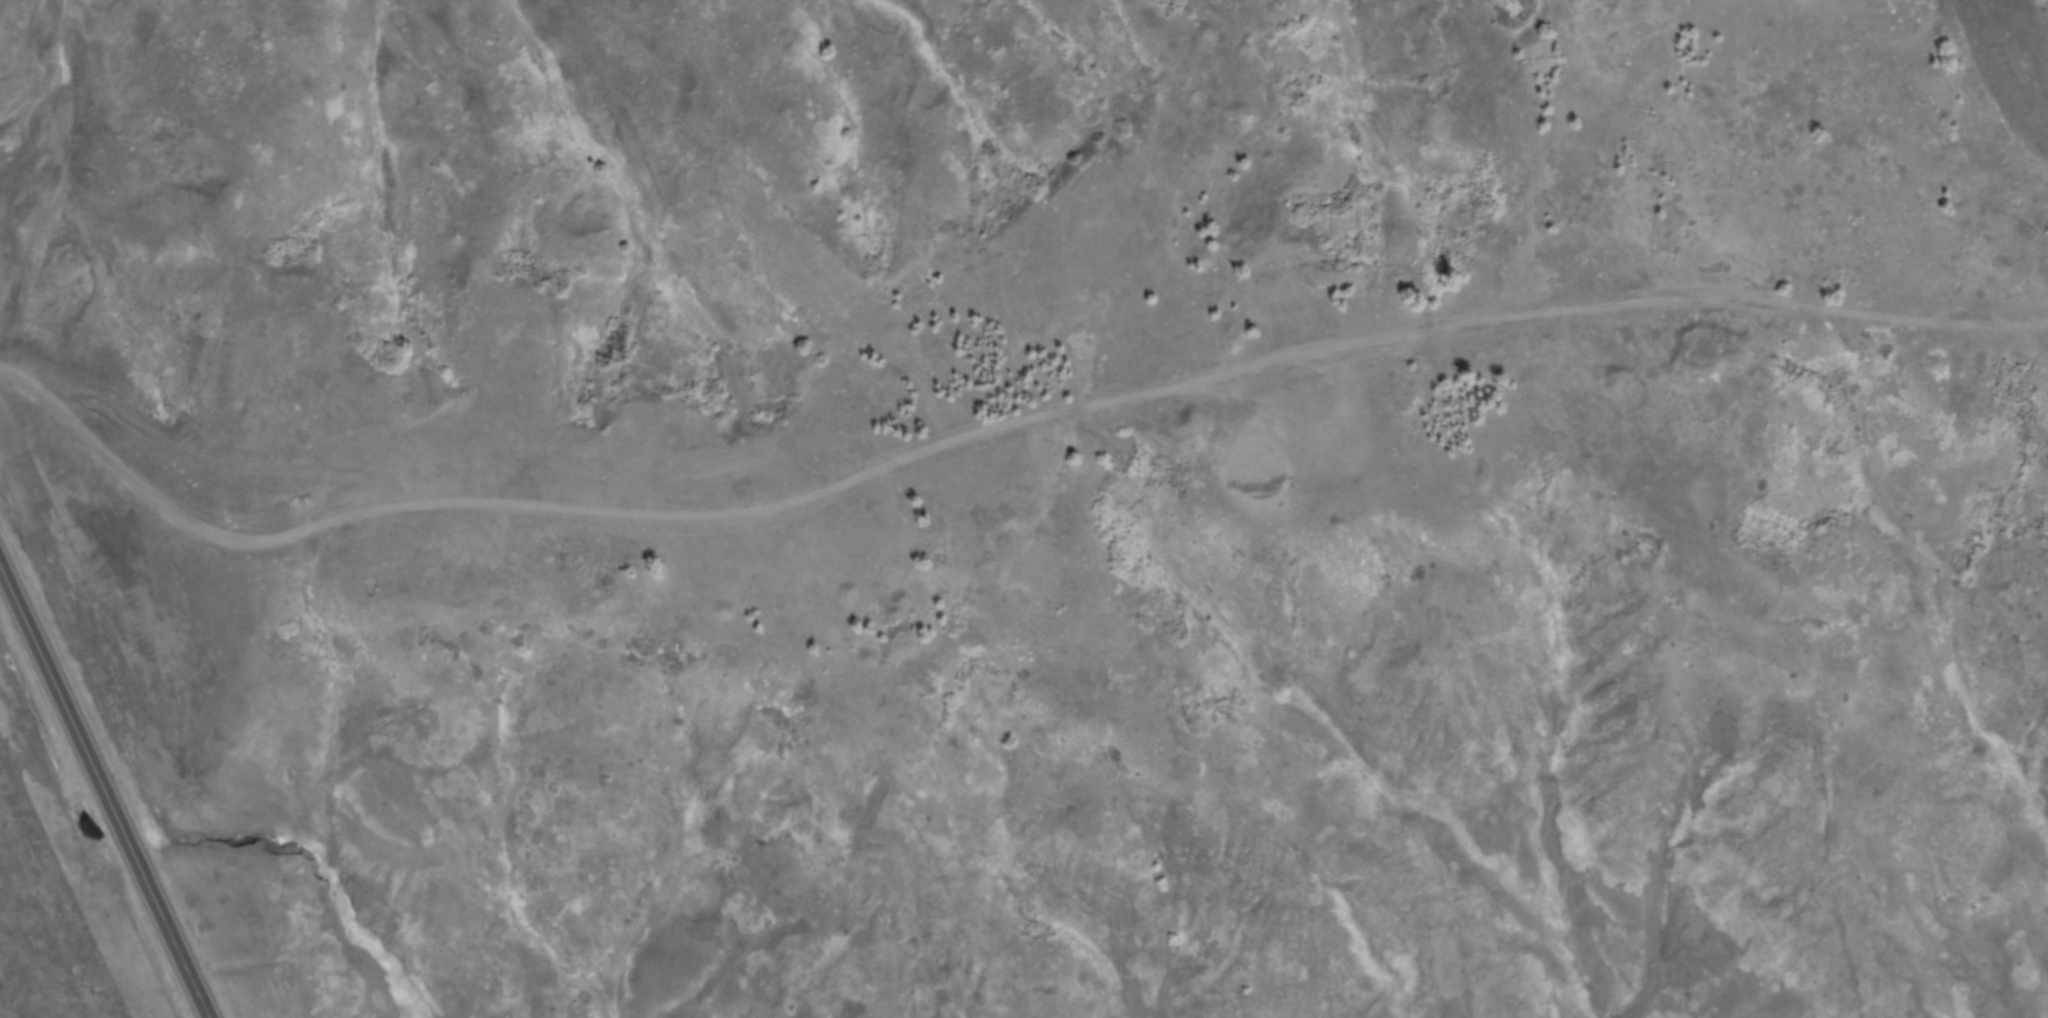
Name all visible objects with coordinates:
road: (105, 790)

